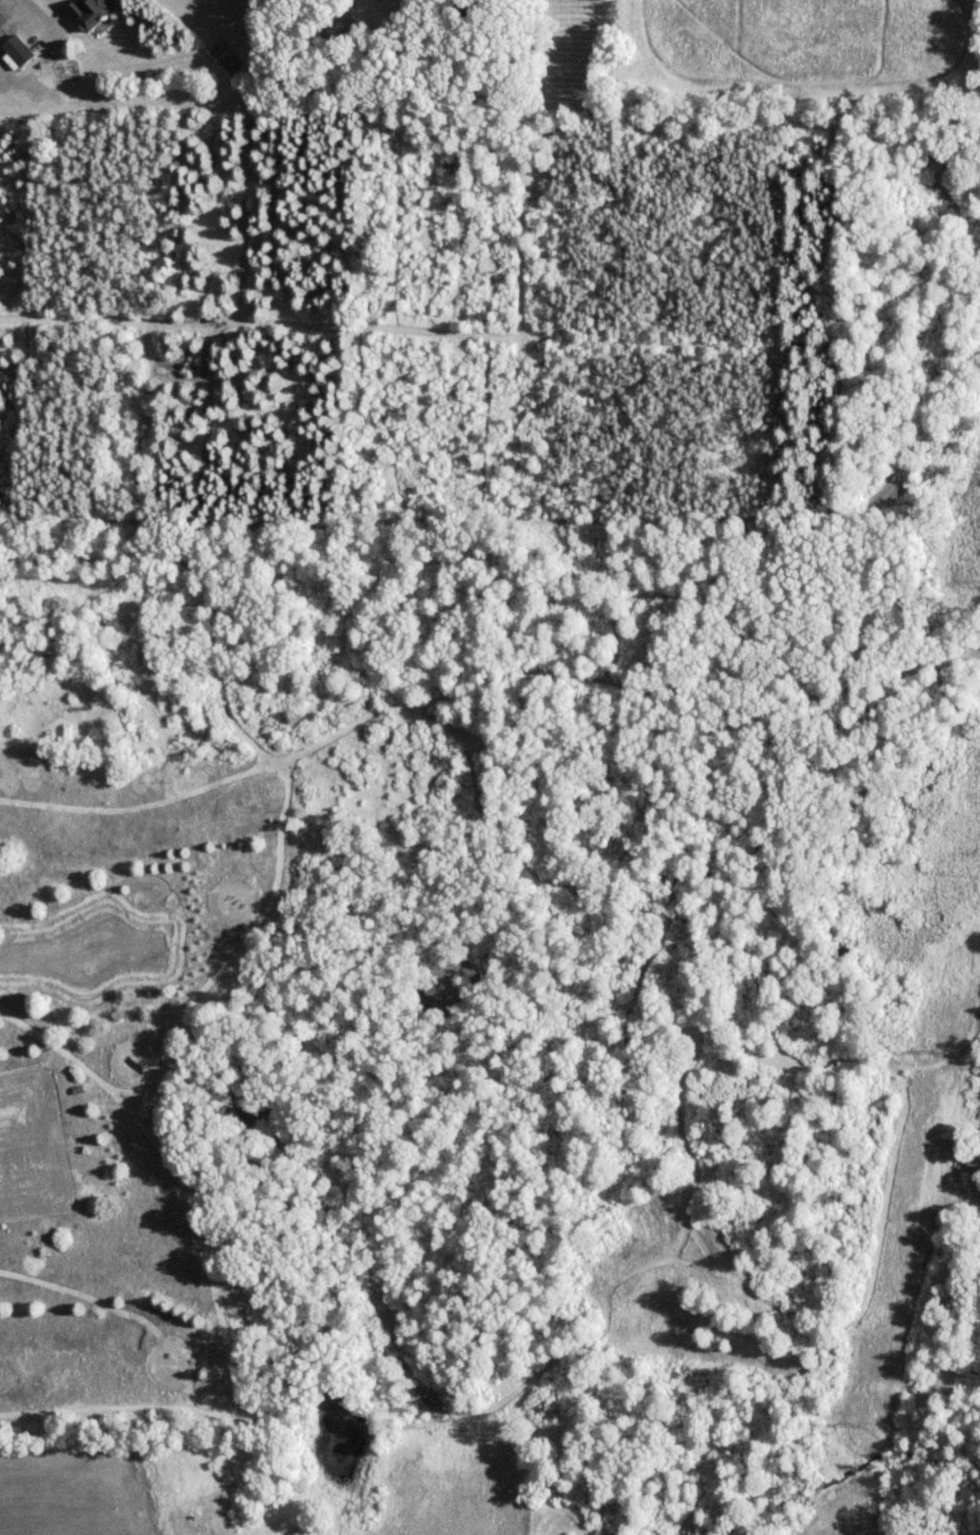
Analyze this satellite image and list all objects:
building: (92, 12)
road: (38, 15)
park: (144, 1040)
power tower: (945, 1051)
power tower: (865, 1423)

